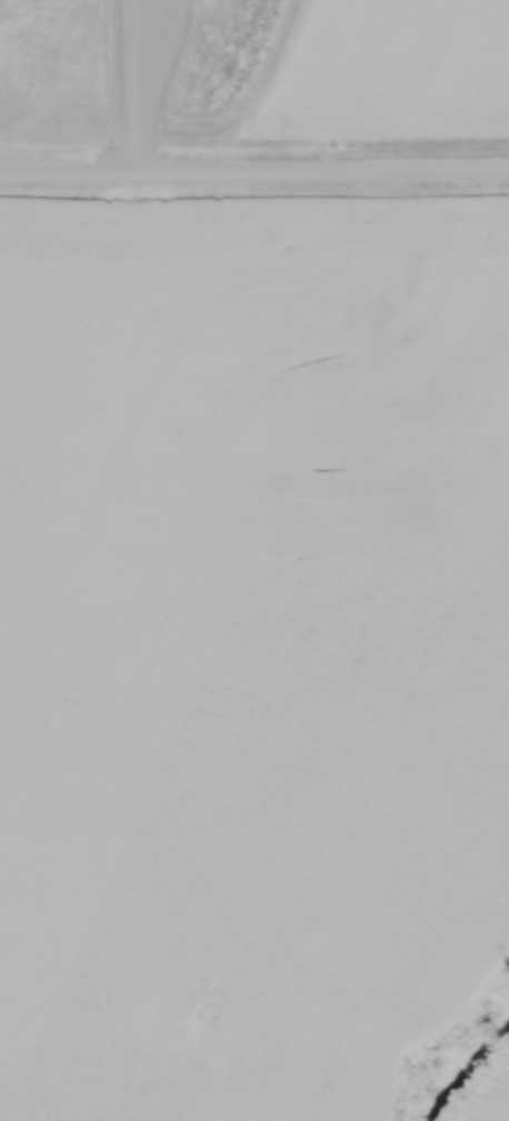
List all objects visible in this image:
road: (137, 88)
road: (253, 173)

